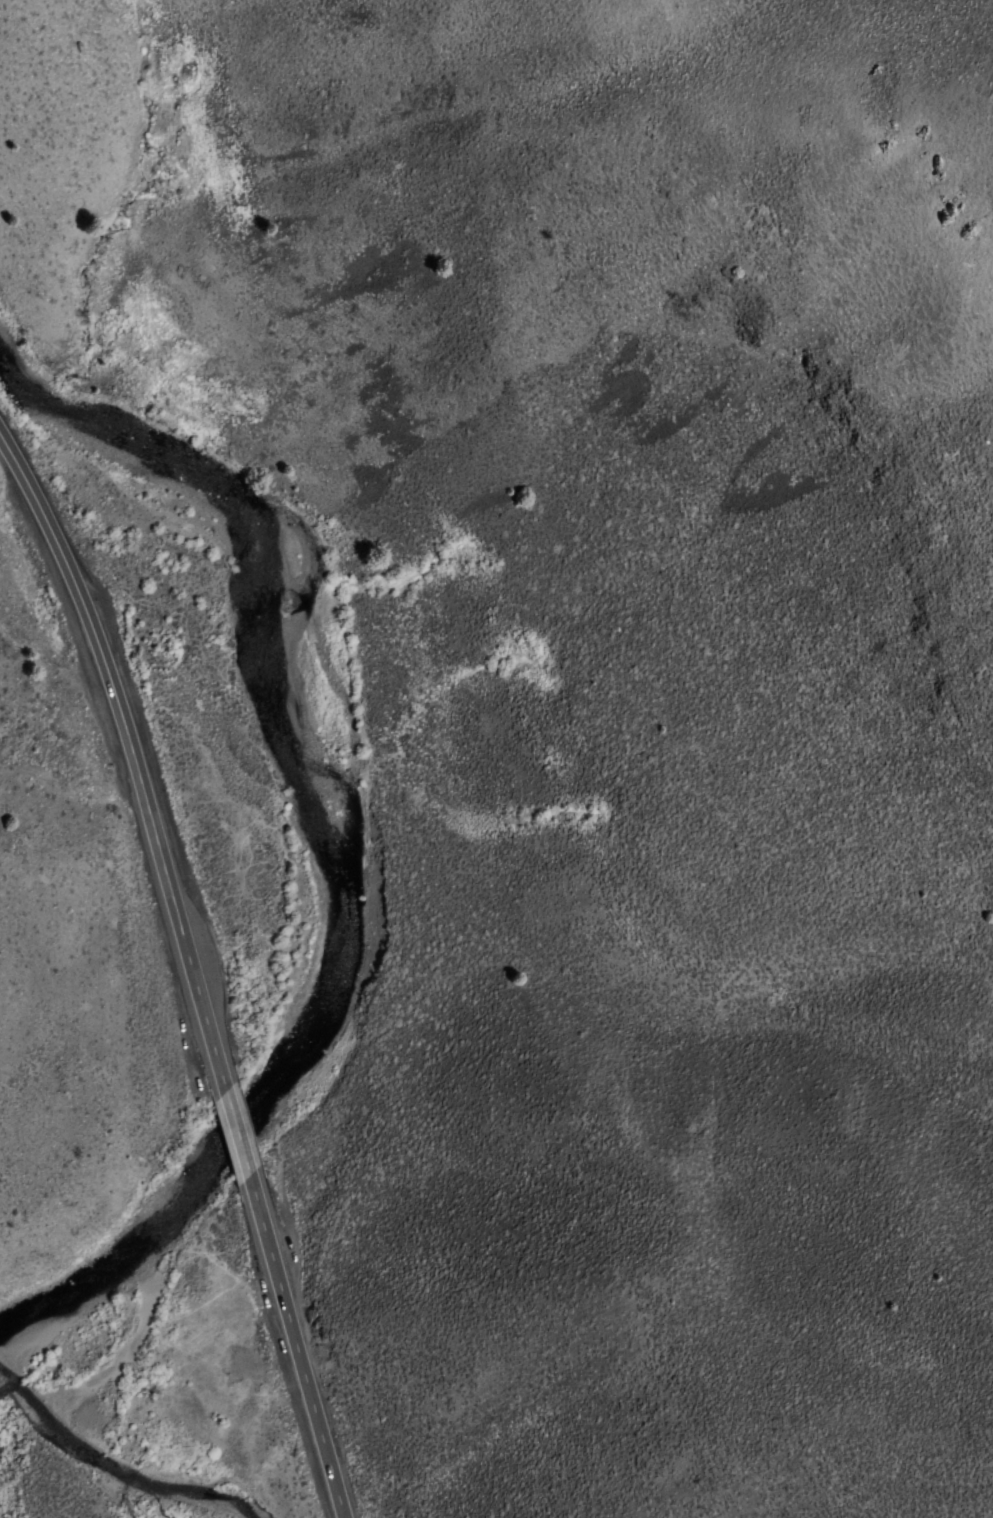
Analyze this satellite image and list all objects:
road: (131, 757)
river: (323, 837)
road: (235, 1134)
road: (294, 1348)

